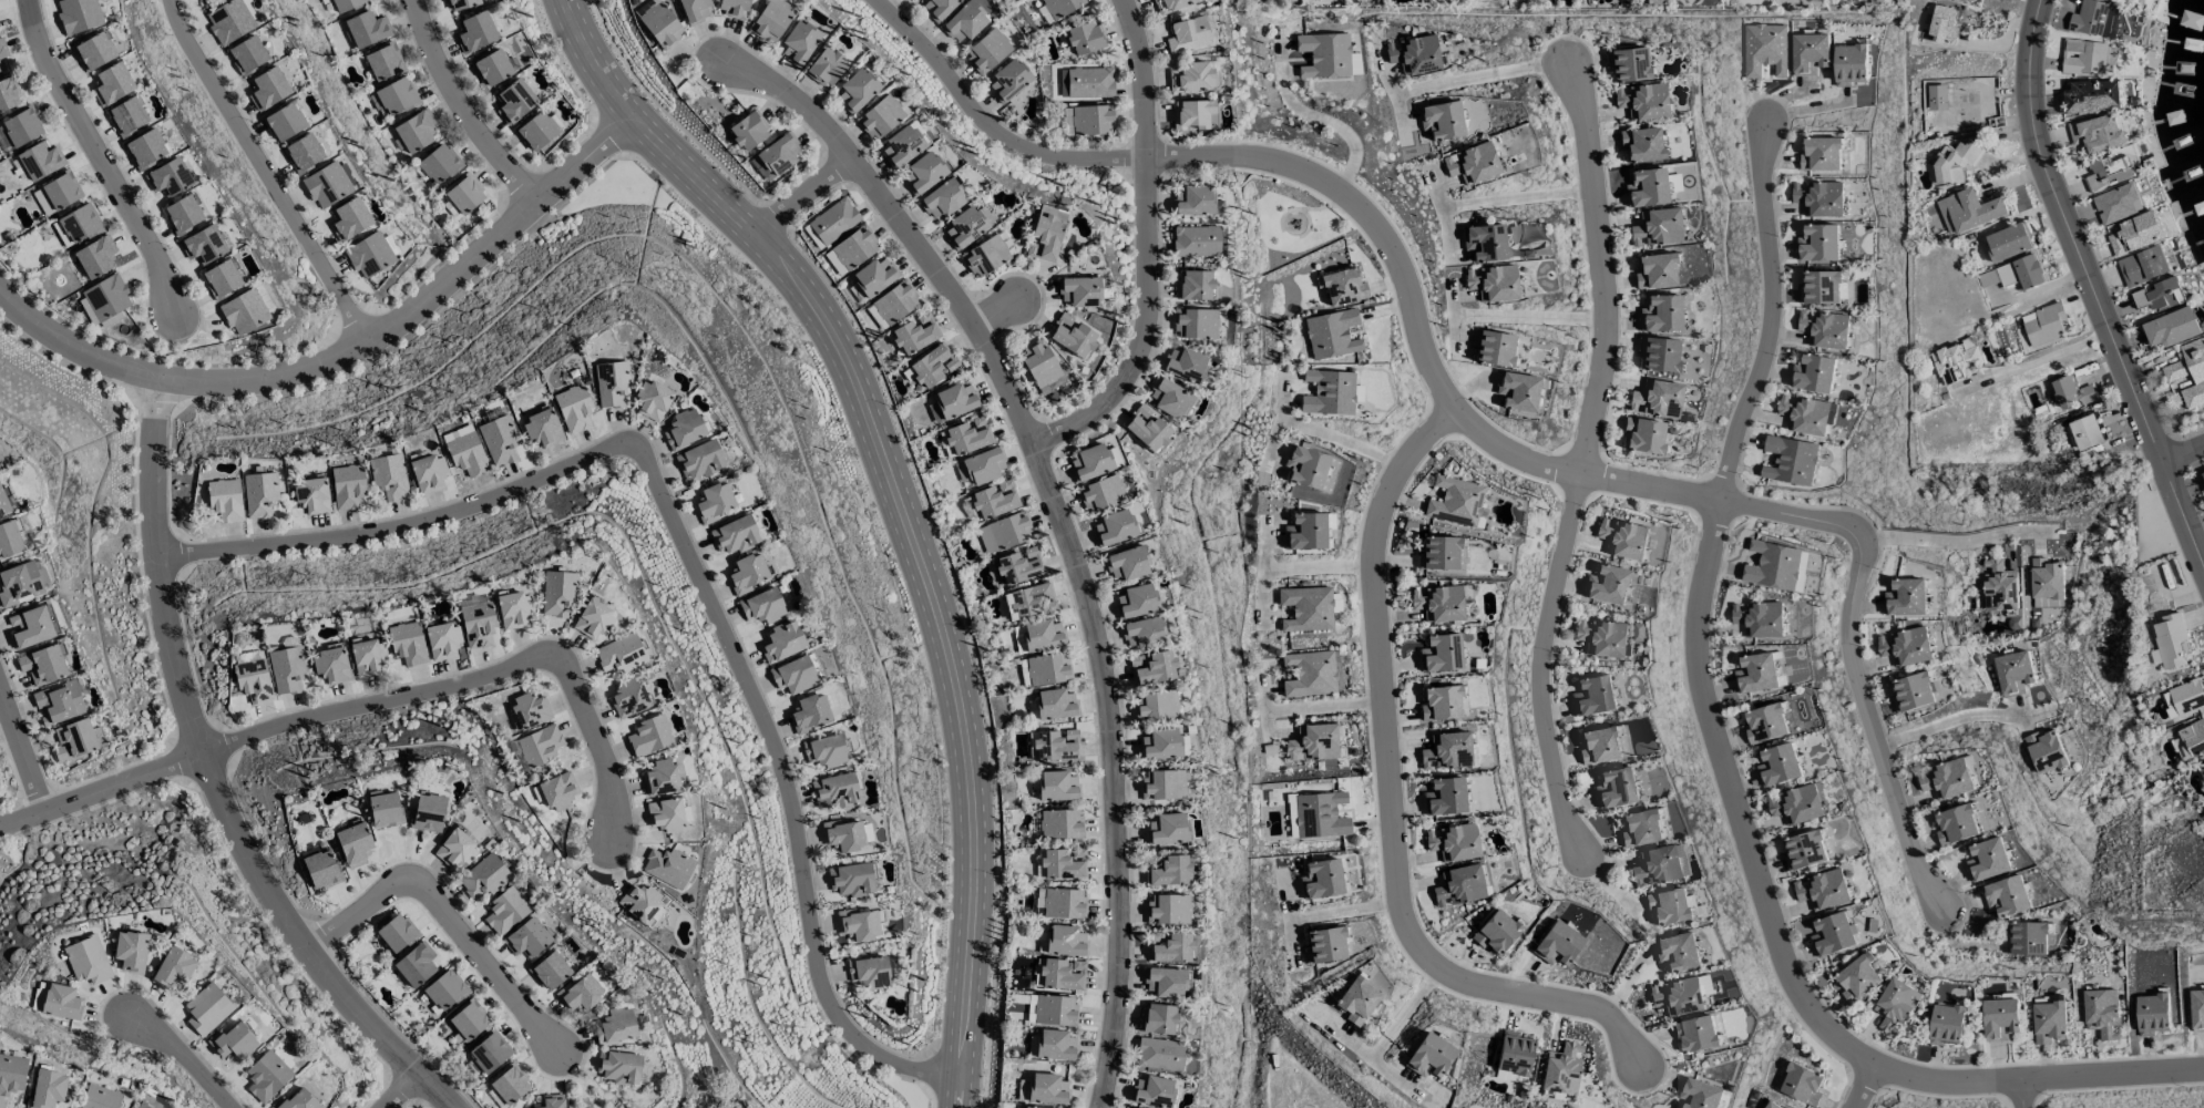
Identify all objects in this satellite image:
building: (912, 0)
building: (1966, 0)
building: (2112, 0)
building: (754, 3)
building: (1186, 3)
building: (346, 4)
building: (461, 4)
building: (1076, 4)
building: (954, 6)
building: (715, 7)
building: (735, 8)
building: (937, 8)
building: (694, 10)
building: (79, 14)
building: (790, 17)
building: (678, 18)
building: (982, 18)
building: (2094, 19)
building: (772, 20)
building: (229, 21)
building: (964, 22)
building: (1944, 24)
building: (660, 25)
building: (366, 29)
building: (1207, 29)
building: (475, 31)
building: (1104, 31)
building: (818, 37)
building: (1085, 38)
building: (799, 43)
building: (1005, 45)
building: (1343, 49)
building: (1764, 49)
building: (94, 51)
building: (987, 51)
building: (1810, 53)
building: (1414, 54)
building: (247, 55)
building: (2083, 57)
building: (2, 61)
building: (383, 62)
building: (845, 62)
building: (1627, 64)
building: (1851, 64)
building: (826, 66)
building: (492, 68)
building: (1209, 72)
building: (1028, 74)
road: (1490, 74)
building: (1107, 76)
building: (1191, 78)
building: (1008, 81)
building: (113, 82)
building: (874, 84)
building: (267, 89)
building: (857, 91)
building: (8, 94)
building: (393, 96)
building: (2092, 96)
building: (1935, 98)
building: (514, 101)
building: (1642, 101)
building: (1212, 110)
road: (461, 111)
building: (898, 112)
road: (1339, 114)
building: (1111, 115)
building: (127, 116)
building: (880, 117)
building: (1091, 120)
road: (1007, 121)
building: (1442, 121)
building: (285, 122)
building: (768, 124)
building: (21, 127)
building: (414, 131)
building: (536, 131)
building: (748, 131)
building: (2097, 133)
building: (920, 140)
building: (1641, 144)
building: (902, 146)
building: (145, 148)
building: (797, 148)
building: (303, 153)
building: (1821, 154)
building: (777, 156)
road: (101, 160)
building: (40, 161)
building: (438, 164)
building: (1472, 164)
building: (1952, 164)
building: (943, 165)
road: (266, 170)
building: (923, 173)
building: (2106, 173)
building: (168, 177)
building: (328, 184)
building: (1647, 188)
road: (811, 193)
building: (57, 194)
building: (464, 194)
building: (963, 194)
road: (1518, 198)
building: (1819, 198)
building: (942, 199)
building: (1195, 201)
building: (2116, 204)
building: (1968, 211)
building: (183, 214)
building: (350, 218)
building: (833, 220)
building: (983, 222)
building: (79, 224)
building: (1657, 227)
building: (2135, 233)
building: (1047, 234)
building: (1196, 242)
building: (2009, 242)
building: (1485, 243)
building: (1818, 243)
road: (1165, 244)
building: (204, 245)
building: (854, 248)
building: (1003, 250)
building: (370, 255)
building: (94, 257)
building: (2142, 266)
road: (1600, 269)
building: (1655, 271)
building: (2015, 274)
building: (874, 276)
building: (223, 278)
building: (1493, 283)
road: (2090, 284)
building: (1196, 285)
building: (1343, 287)
building: (1823, 288)
road: (2036, 288)
building: (1079, 291)
building: (2159, 296)
building: (106, 299)
building: (892, 305)
road: (1012, 307)
building: (244, 311)
building: (1661, 314)
road: (1528, 317)
building: (1196, 324)
building: (2044, 324)
building: (2171, 327)
building: (1824, 329)
building: (915, 334)
building: (1331, 334)
building: (1073, 336)
road: (345, 347)
building: (1494, 348)
building: (1659, 353)
road: (2040, 358)
building: (1955, 362)
building: (1039, 363)
building: (1185, 365)
building: (933, 366)
building: (2188, 371)
building: (1813, 373)
building: (612, 384)
building: (1518, 391)
building: (1329, 392)
building: (2071, 393)
building: (1170, 398)
building: (1657, 399)
building: (653, 400)
building: (955, 400)
road: (1453, 407)
building: (574, 409)
building: (1803, 414)
building: (543, 428)
building: (684, 429)
building: (1147, 429)
building: (2085, 431)
building: (968, 435)
building: (1643, 435)
building: (500, 441)
road: (1344, 441)
road: (2184, 448)
building: (467, 454)
building: (1790, 460)
building: (699, 461)
building: (1095, 462)
building: (980, 466)
building: (1306, 468)
building: (428, 473)
building: (2203, 474)
building: (389, 476)
building: (348, 486)
building: (259, 494)
building: (1101, 494)
building: (312, 495)
building: (225, 500)
building: (995, 500)
building: (716, 502)
building: (1456, 502)
building: (3, 503)
road: (899, 506)
road: (1069, 522)
building: (1114, 529)
building: (1003, 532)
building: (1306, 532)
building: (735, 535)
building: (1622, 538)
building: (9, 540)
road: (1946, 540)
road: (688, 552)
building: (1442, 554)
building: (1127, 564)
building: (1775, 565)
building: (1019, 566)
road: (1319, 567)
building: (748, 573)
building: (2046, 583)
building: (19, 584)
building: (1608, 585)
building: (1999, 586)
building: (557, 594)
building: (1906, 597)
building: (1029, 602)
building: (1136, 602)
building: (1335, 603)
building: (1438, 603)
building: (762, 606)
building: (1306, 608)
building: (514, 609)
building: (1759, 618)
building: (594, 619)
building: (478, 625)
building: (31, 627)
building: (1144, 633)
building: (1042, 636)
building: (1606, 637)
building: (2171, 640)
building: (442, 642)
building: (781, 642)
building: (408, 644)
building: (1905, 646)
building: (1442, 653)
building: (621, 654)
building: (368, 658)
building: (43, 665)
building: (331, 665)
road: (1544, 665)
building: (287, 669)
building: (1048, 669)
building: (1024, 673)
building: (1756, 673)
building: (2013, 673)
building: (1309, 674)
building: (793, 675)
building: (253, 676)
road: (453, 689)
building: (1913, 693)
building: (1593, 695)
building: (2187, 696)
building: (628, 698)
building: (59, 702)
building: (1055, 704)
building: (1441, 704)
building: (1157, 705)
building: (2169, 706)
road: (1324, 707)
building: (530, 710)
building: (810, 712)
road: (1949, 719)
building: (1766, 724)
road: (1873, 729)
building: (649, 736)
building: (74, 740)
building: (2191, 740)
building: (1313, 742)
building: (1161, 743)
building: (542, 745)
building: (1055, 746)
building: (1599, 746)
road: (23, 750)
building: (826, 750)
building: (1446, 751)
building: (2044, 751)
building: (1778, 765)
building: (2202, 774)
building: (662, 778)
road: (1726, 778)
building: (1946, 779)
road: (211, 781)
building: (1163, 784)
road: (98, 786)
building: (1057, 786)
building: (1616, 788)
building: (834, 790)
building: (558, 791)
building: (1445, 797)
road: (1391, 801)
building: (1797, 804)
building: (385, 810)
building: (428, 812)
building: (666, 815)
building: (1320, 815)
building: (1291, 817)
building: (2203, 821)
building: (1060, 824)
building: (1956, 824)
building: (1641, 828)
building: (1169, 829)
building: (844, 838)
building: (353, 842)
building: (1453, 842)
building: (457, 849)
building: (1804, 849)
building: (1078, 854)
building: (1988, 859)
building: (1060, 865)
building: (1660, 865)
building: (668, 868)
building: (320, 869)
building: (1170, 872)
building: (485, 875)
building: (1322, 879)
building: (1458, 886)
building: (1822, 890)
building: (2007, 896)
building: (1064, 903)
building: (648, 906)
building: (1668, 906)
building: (1168, 909)
road: (1343, 911)
building: (505, 912)
road: (449, 913)
road: (1288, 919)
building: (860, 925)
building: (1496, 932)
building: (396, 933)
building: (1833, 934)
building: (527, 938)
building: (2028, 938)
building: (1065, 941)
building: (1558, 944)
building: (1325, 945)
building: (1173, 948)
building: (131, 952)
building: (1678, 952)
building: (88, 961)
building: (414, 965)
building: (174, 968)
building: (550, 971)
building: (871, 972)
building: (1063, 974)
building: (1857, 977)
building: (1166, 982)
building: (444, 989)
building: (581, 993)
building: (39, 997)
building: (1678, 997)
building: (1356, 1001)
building: (62, 1002)
building: (1895, 1005)
building: (207, 1009)
building: (2196, 1009)
building: (1055, 1010)
building: (2102, 1013)
building: (2152, 1014)
building: (1159, 1019)
building: (2000, 1019)
building: (468, 1022)
building: (2048, 1022)
building: (1946, 1024)
building: (615, 1026)
building: (1695, 1034)
building: (232, 1042)
building: (1055, 1045)
building: (489, 1053)
building: (1160, 1054)
road: (185, 1056)
building: (1429, 1056)
building: (1514, 1056)
building: (621, 1067)
building: (1562, 1069)
building: (11, 1075)
building: (267, 1076)
building: (1802, 1085)
building: (49, 1088)
building: (508, 1088)
building: (1047, 1088)
road: (1863, 1088)
road: (398, 1090)
building: (1154, 1091)
building: (1700, 1095)
road: (2020, 1095)
building: (100, 1097)
building: (296, 1101)
building: (551, 1101)
building: (1771, 1105)
building: (143, 1106)
building: (1028, 1107)
building: (1129, 1107)

